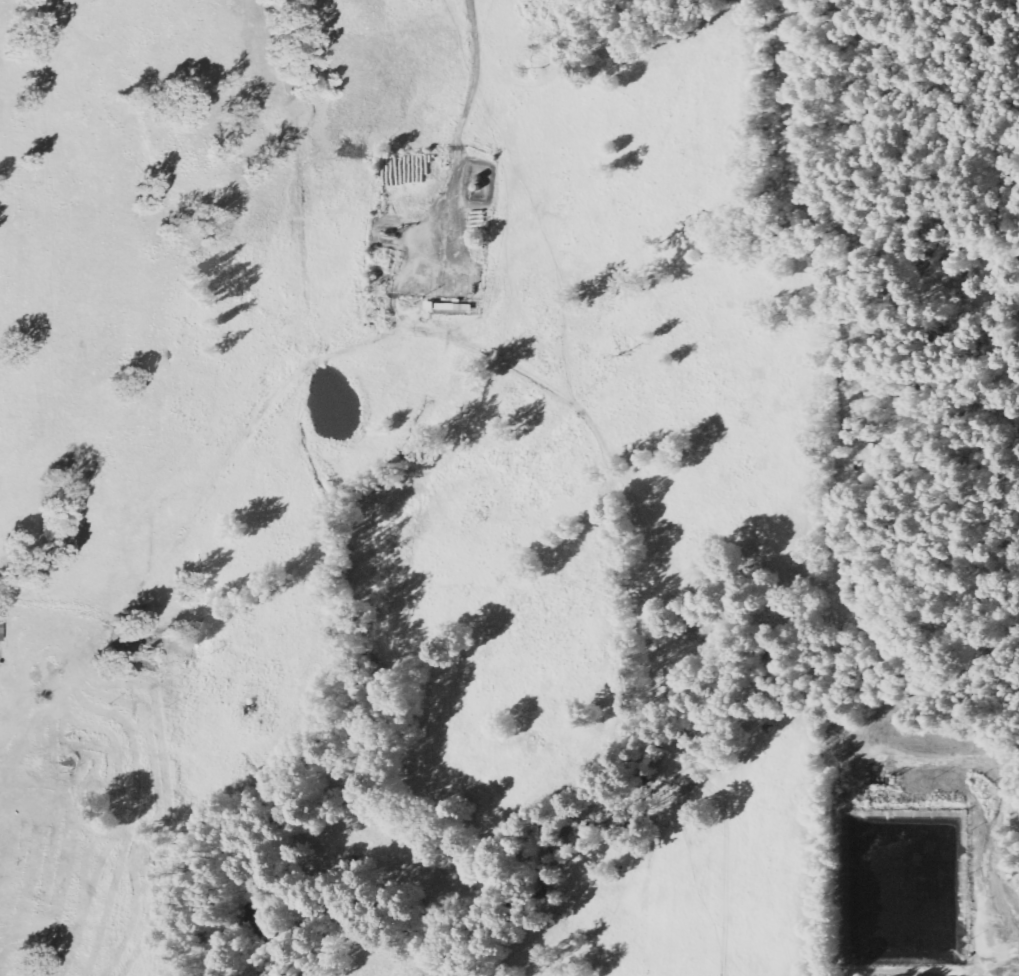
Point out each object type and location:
road: (454, 170)
road: (63, 393)
road: (566, 396)
road: (1013, 432)
road: (993, 854)

